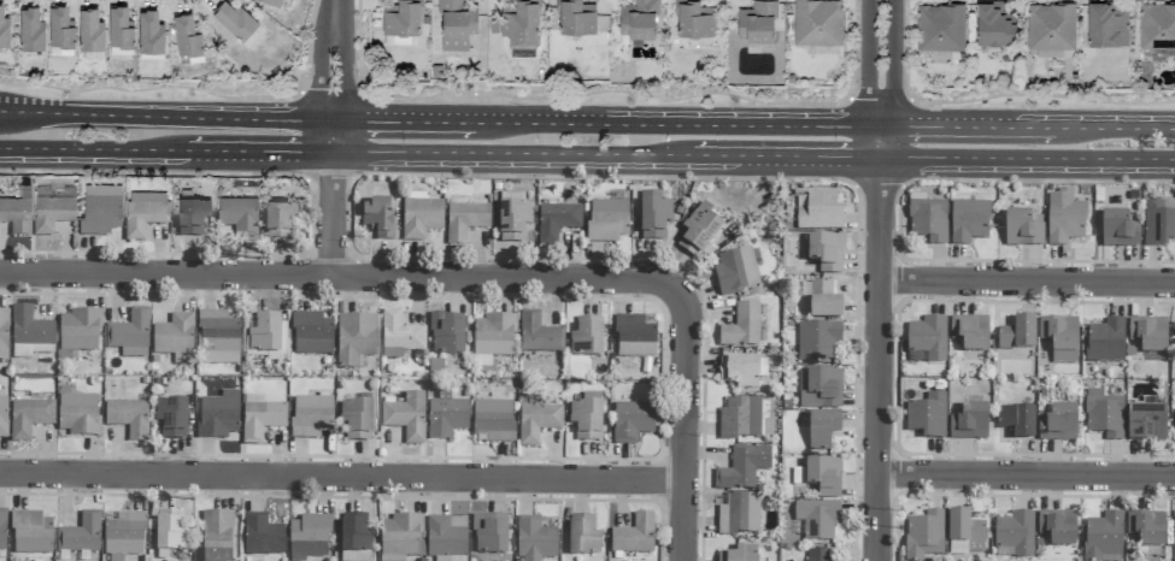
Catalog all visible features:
building: (271, 1)
building: (400, 17)
building: (575, 17)
building: (693, 18)
building: (234, 19)
building: (638, 19)
building: (756, 20)
building: (817, 22)
building: (456, 24)
building: (1106, 24)
building: (992, 25)
building: (1156, 25)
building: (939, 26)
building: (1050, 26)
building: (4, 28)
building: (30, 29)
building: (89, 29)
building: (519, 29)
building: (59, 30)
building: (119, 30)
building: (148, 31)
road: (317, 61)
road: (345, 61)
road: (866, 64)
road: (892, 64)
road: (166, 118)
road: (404, 122)
road: (676, 124)
road: (967, 128)
road: (1115, 129)
road: (333, 137)
road: (879, 142)
road: (95, 149)
road: (262, 152)
road: (513, 154)
road: (786, 158)
road: (1027, 160)
building: (100, 209)
building: (817, 211)
building: (51, 212)
building: (145, 212)
building: (16, 214)
building: (237, 214)
building: (192, 215)
road: (333, 215)
building: (654, 215)
building: (421, 217)
building: (280, 219)
building: (378, 219)
building: (928, 219)
building: (1064, 219)
building: (465, 222)
building: (513, 222)
building: (607, 222)
building: (969, 222)
building: (557, 223)
building: (1158, 223)
building: (1022, 230)
building: (699, 231)
building: (1118, 231)
building: (826, 253)
building: (738, 271)
road: (331, 278)
road: (1024, 282)
building: (824, 302)
building: (741, 327)
building: (80, 331)
building: (970, 332)
building: (311, 333)
building: (30, 335)
building: (130, 335)
building: (265, 335)
building: (447, 335)
building: (539, 335)
building: (1148, 335)
building: (4, 336)
building: (174, 336)
building: (399, 336)
building: (635, 336)
building: (1017, 336)
building: (588, 337)
building: (218, 338)
building: (1061, 338)
building: (356, 339)
building: (493, 339)
building: (927, 341)
building: (818, 342)
building: (1105, 342)
road: (876, 359)
building: (740, 372)
building: (819, 389)
road: (686, 414)
building: (78, 415)
building: (218, 415)
building: (1104, 415)
building: (311, 417)
building: (446, 417)
building: (587, 417)
building: (928, 417)
building: (2, 418)
building: (29, 418)
building: (129, 418)
building: (171, 418)
building: (260, 418)
building: (406, 418)
building: (740, 419)
building: (357, 420)
building: (494, 420)
building: (536, 420)
building: (631, 421)
building: (1017, 421)
building: (970, 423)
building: (1146, 424)
building: (1058, 425)
building: (822, 430)
building: (742, 468)
building: (819, 477)
road: (1026, 477)
road: (342, 479)
building: (738, 514)
building: (817, 520)
building: (1058, 527)
building: (1147, 528)
building: (2, 530)
building: (31, 533)
building: (965, 533)
building: (81, 535)
building: (124, 535)
building: (170, 535)
building: (489, 535)
building: (217, 536)
building: (262, 536)
building: (582, 536)
building: (634, 536)
building: (924, 536)
building: (1015, 536)
building: (1174, 536)
building: (309, 537)
building: (447, 537)
building: (356, 538)
building: (400, 538)
building: (1104, 538)
building: (535, 541)
building: (740, 554)
building: (818, 555)
building: (450, 559)

